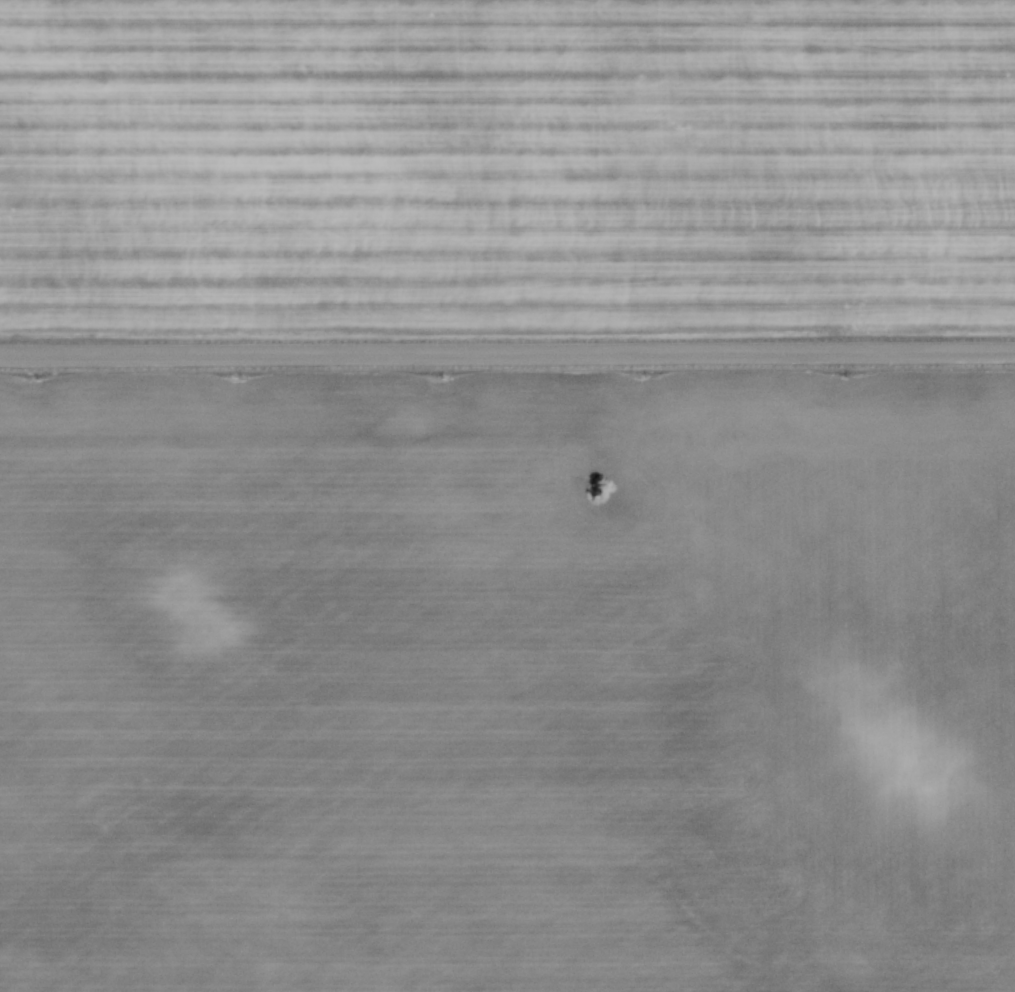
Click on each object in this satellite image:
crop: (506, 168)
road: (507, 353)
crop: (507, 682)

